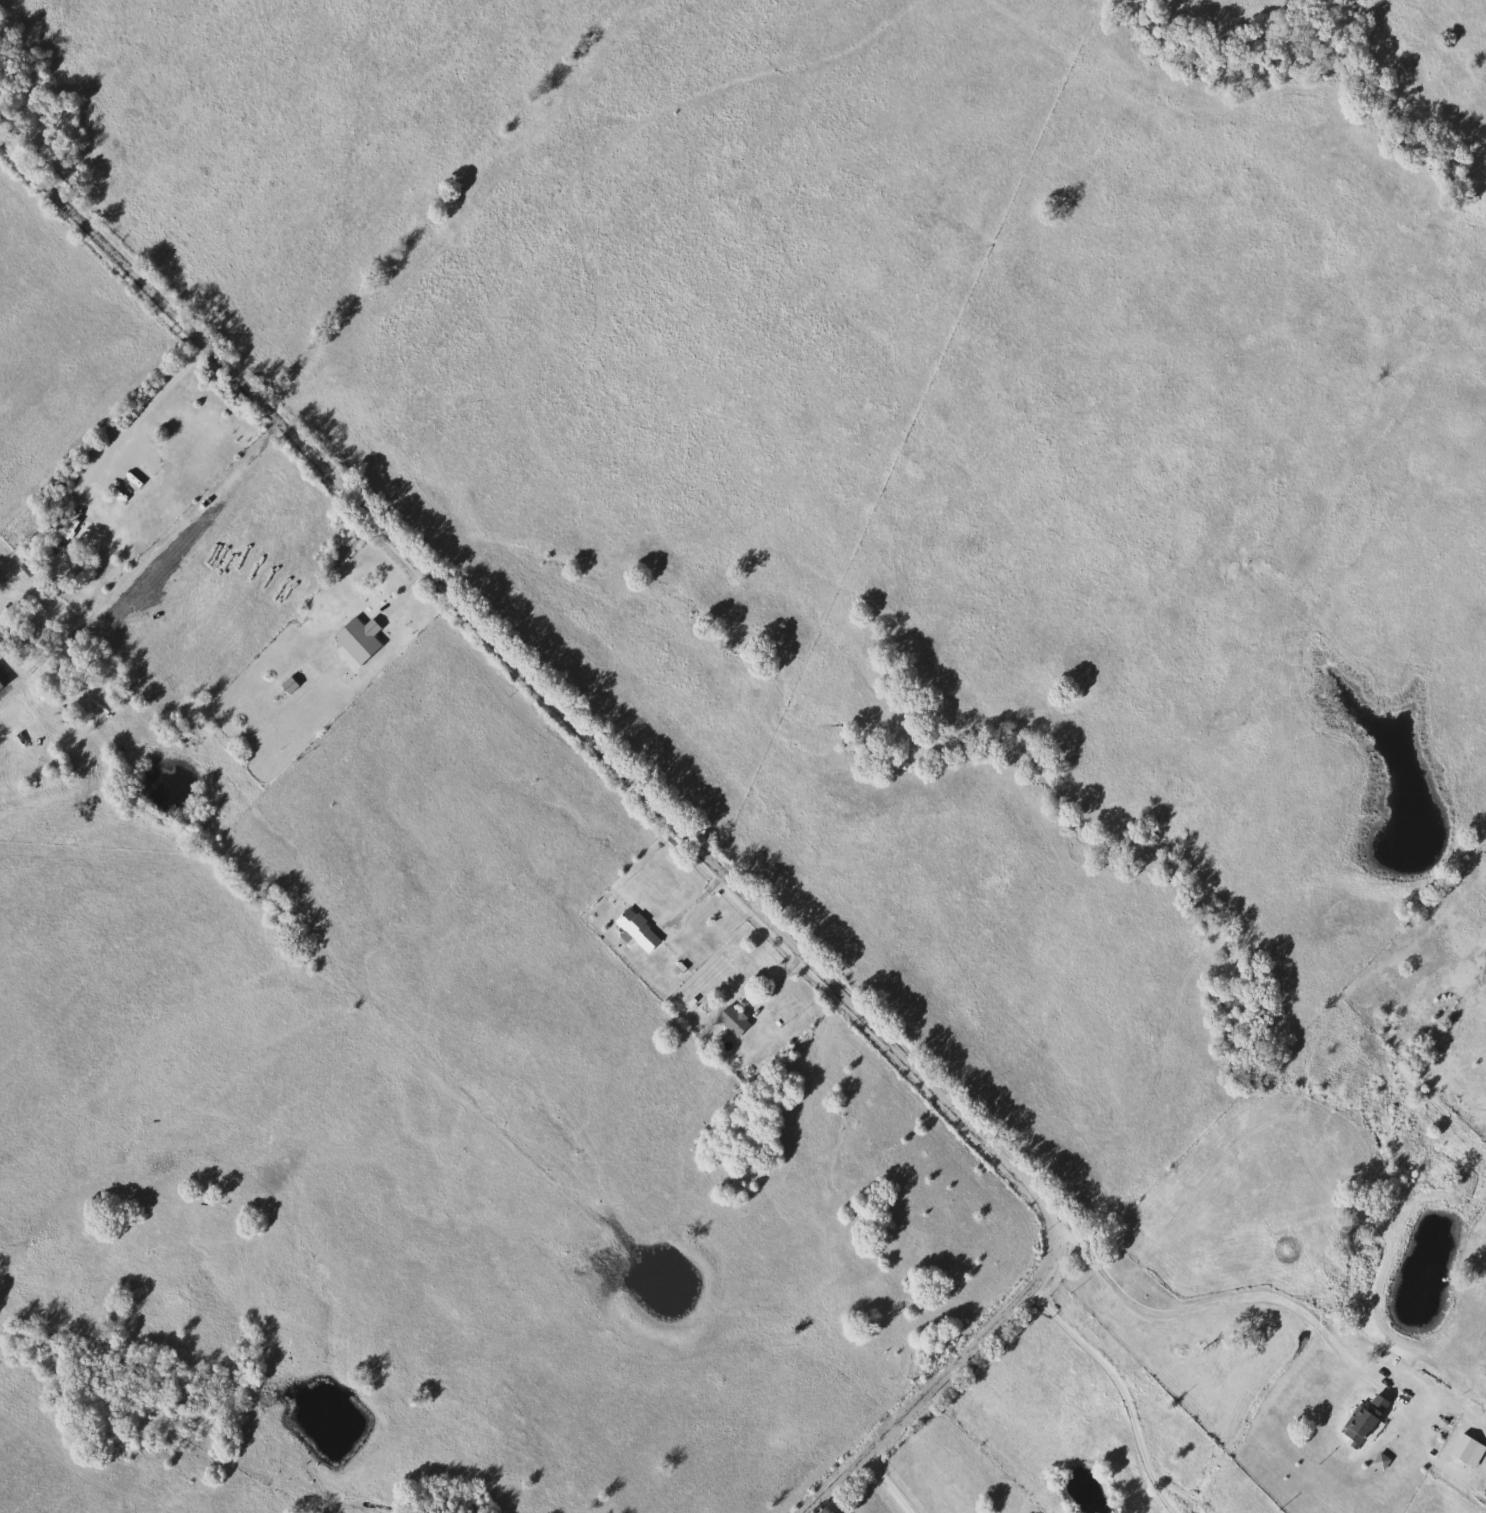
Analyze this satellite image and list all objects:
road: (146, 408)
road: (182, 529)
building: (356, 639)
building: (286, 684)
road: (667, 815)
road: (696, 899)
building: (634, 929)
road: (778, 984)
building: (730, 1019)
road: (1207, 1306)
road: (1116, 1388)
building: (1362, 1420)
road: (885, 1483)

